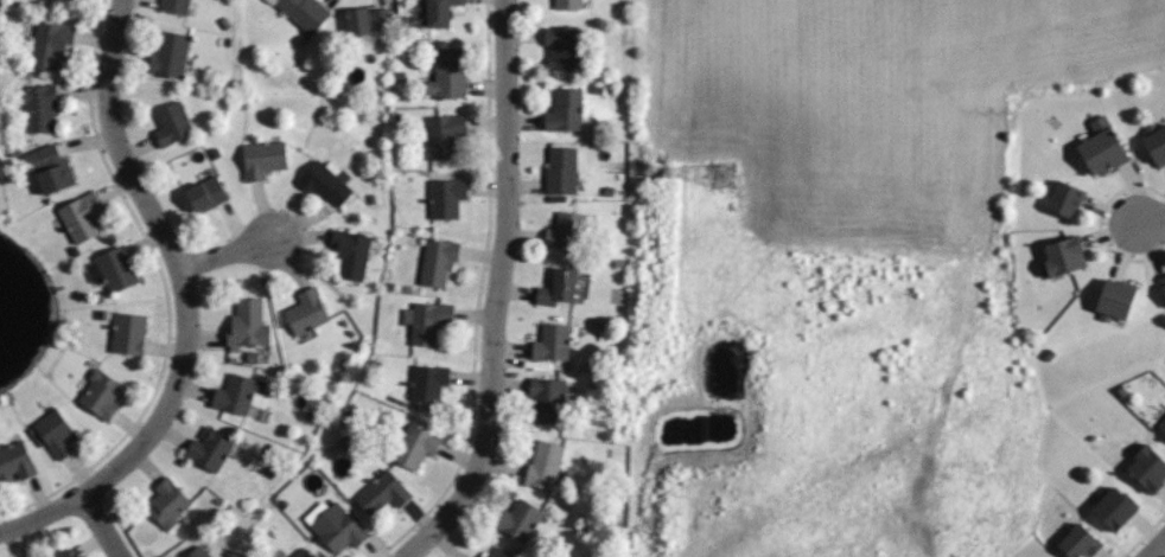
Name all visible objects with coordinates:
building: (63, 1)
building: (565, 2)
building: (174, 6)
building: (438, 11)
building: (304, 12)
building: (367, 19)
building: (51, 45)
building: (561, 49)
building: (168, 52)
building: (452, 73)
building: (39, 109)
building: (562, 110)
building: (172, 126)
building: (444, 134)
building: (1157, 143)
building: (1103, 148)
building: (262, 159)
building: (50, 169)
building: (560, 171)
power tower: (736, 177)
building: (324, 181)
building: (206, 196)
building: (445, 196)
building: (1064, 198)
building: (79, 217)
road: (1156, 219)
building: (566, 230)
building: (349, 251)
road: (224, 254)
building: (1065, 257)
road: (174, 260)
building: (437, 260)
building: (116, 268)
building: (1163, 283)
building: (559, 289)
road: (497, 293)
building: (1116, 299)
building: (308, 313)
building: (426, 320)
building: (248, 326)
building: (128, 333)
building: (553, 341)
building: (427, 380)
building: (100, 393)
building: (237, 395)
building: (548, 401)
building: (1161, 423)
building: (53, 433)
building: (415, 446)
building: (209, 448)
building: (14, 462)
building: (545, 466)
building: (1150, 468)
building: (382, 494)
building: (168, 501)
building: (1114, 508)
road: (40, 514)
building: (518, 519)
road: (100, 525)
building: (335, 525)
building: (1078, 542)
road: (1157, 548)
building: (495, 552)
building: (62, 553)
building: (197, 553)
building: (300, 553)
building: (478, 556)

